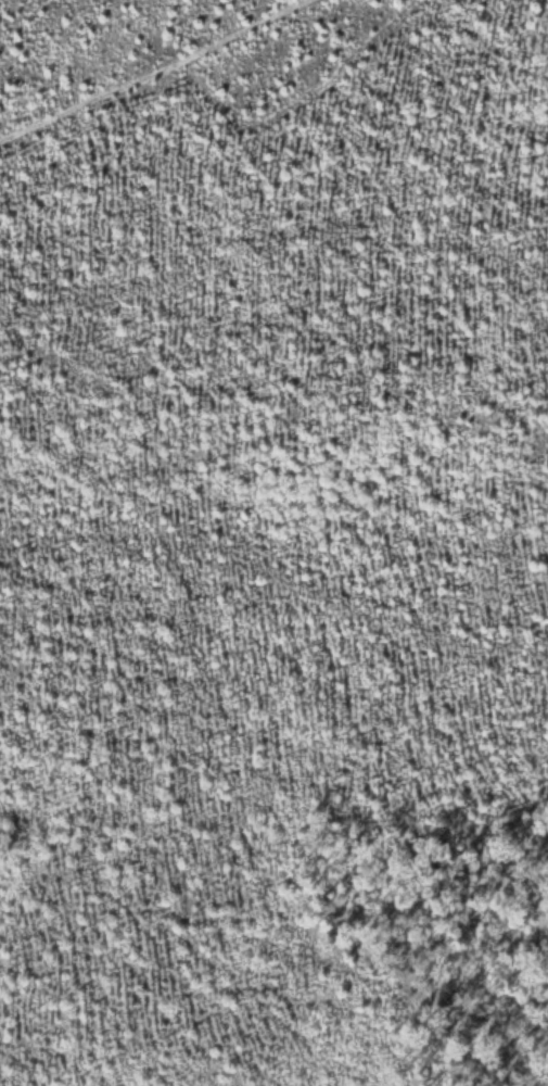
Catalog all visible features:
road: (155, 74)

